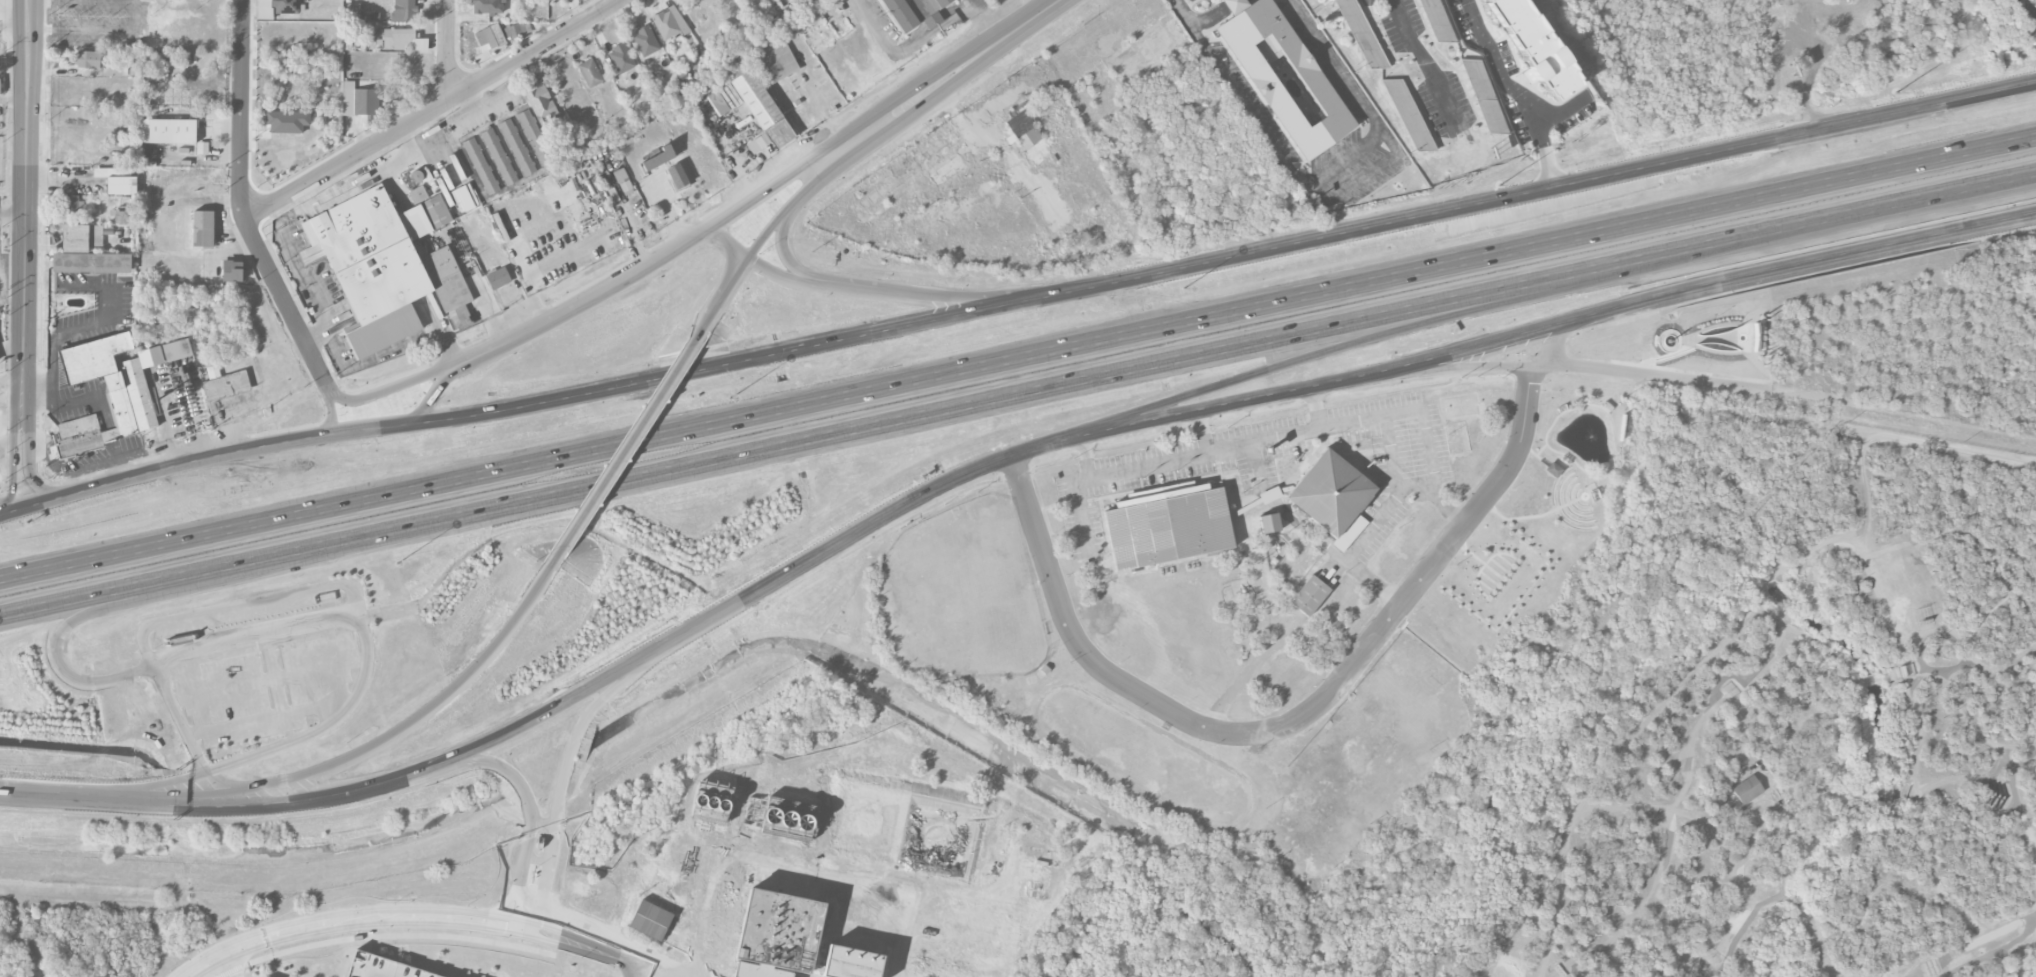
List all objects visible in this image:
building: (815, 2)
building: (940, 3)
road: (976, 3)
road: (1232, 4)
building: (285, 6)
building: (488, 7)
road: (2026, 8)
building: (404, 10)
building: (900, 14)
road: (1211, 17)
road: (988, 20)
building: (1435, 20)
building: (666, 24)
building: (516, 31)
building: (1361, 34)
building: (490, 36)
building: (397, 38)
road: (1002, 39)
building: (645, 41)
road: (909, 46)
building: (1534, 47)
road: (448, 49)
building: (621, 58)
building: (87, 59)
building: (775, 59)
road: (1430, 63)
building: (590, 73)
building: (1283, 75)
building: (0, 81)
road: (1521, 92)
building: (1484, 96)
building: (359, 100)
building: (717, 103)
road: (924, 105)
building: (542, 106)
building: (760, 108)
road: (435, 109)
building: (1408, 115)
building: (287, 121)
building: (166, 131)
road: (13, 133)
building: (535, 137)
building: (1028, 137)
building: (517, 147)
building: (202, 148)
building: (499, 157)
building: (658, 157)
road: (26, 160)
building: (481, 166)
building: (677, 176)
road: (1317, 178)
road: (1358, 178)
building: (121, 186)
road: (761, 193)
road: (1541, 194)
building: (418, 195)
building: (69, 204)
road: (243, 207)
road: (13, 217)
building: (122, 217)
road: (1854, 223)
building: (202, 228)
road: (768, 234)
road: (636, 243)
road: (731, 245)
building: (87, 253)
road: (790, 261)
building: (385, 265)
road: (546, 267)
building: (232, 270)
building: (498, 278)
road: (303, 281)
road: (731, 288)
road: (896, 289)
road: (1559, 327)
road: (315, 335)
road: (18, 336)
road: (1374, 336)
road: (1552, 348)
building: (177, 350)
road: (390, 350)
road: (8, 352)
road: (23, 352)
road: (1017, 362)
road: (731, 363)
road: (456, 366)
road: (29, 370)
road: (1450, 371)
road: (16, 383)
building: (226, 386)
road: (393, 387)
road: (431, 391)
road: (1789, 395)
road: (1529, 398)
building: (130, 400)
road: (75, 402)
road: (1316, 407)
road: (22, 411)
road: (7, 415)
road: (331, 415)
road: (1328, 424)
road: (110, 425)
road: (105, 426)
road: (1202, 430)
road: (1424, 432)
road: (115, 436)
road: (836, 436)
road: (106, 438)
road: (630, 442)
road: (1920, 444)
road: (116, 448)
road: (112, 449)
road: (1617, 450)
road: (211, 457)
road: (1542, 461)
road: (14, 466)
road: (120, 466)
road: (28, 468)
building: (1553, 470)
building: (1330, 493)
road: (1434, 497)
road: (6, 515)
road: (6, 516)
road: (1536, 516)
building: (1269, 523)
building: (1167, 526)
building: (1309, 596)
road: (1521, 599)
road: (119, 607)
road: (199, 613)
road: (262, 631)
road: (1967, 647)
road: (612, 673)
road: (1681, 676)
road: (312, 733)
road: (1260, 736)
road: (365, 747)
road: (1915, 774)
road: (134, 787)
road: (221, 790)
building: (1747, 790)
road: (6, 793)
road: (6, 794)
road: (62, 798)
road: (557, 798)
building: (712, 804)
building: (779, 817)
building: (869, 821)
road: (1818, 833)
building: (937, 837)
road: (538, 859)
road: (722, 862)
building: (1032, 874)
road: (884, 884)
road: (968, 893)
road: (872, 898)
building: (996, 904)
road: (518, 908)
road: (441, 909)
building: (960, 910)
building: (987, 916)
building: (650, 918)
building: (959, 918)
road: (441, 922)
building: (985, 924)
building: (956, 931)
building: (1000, 934)
building: (1013, 936)
building: (982, 937)
road: (262, 938)
building: (792, 938)
building: (959, 946)
road: (901, 949)
building: (940, 957)
road: (619, 960)
building: (384, 967)
parking garage: (384, 967)
road: (639, 972)
building: (946, 972)
road: (899, 974)
building: (967, 975)

